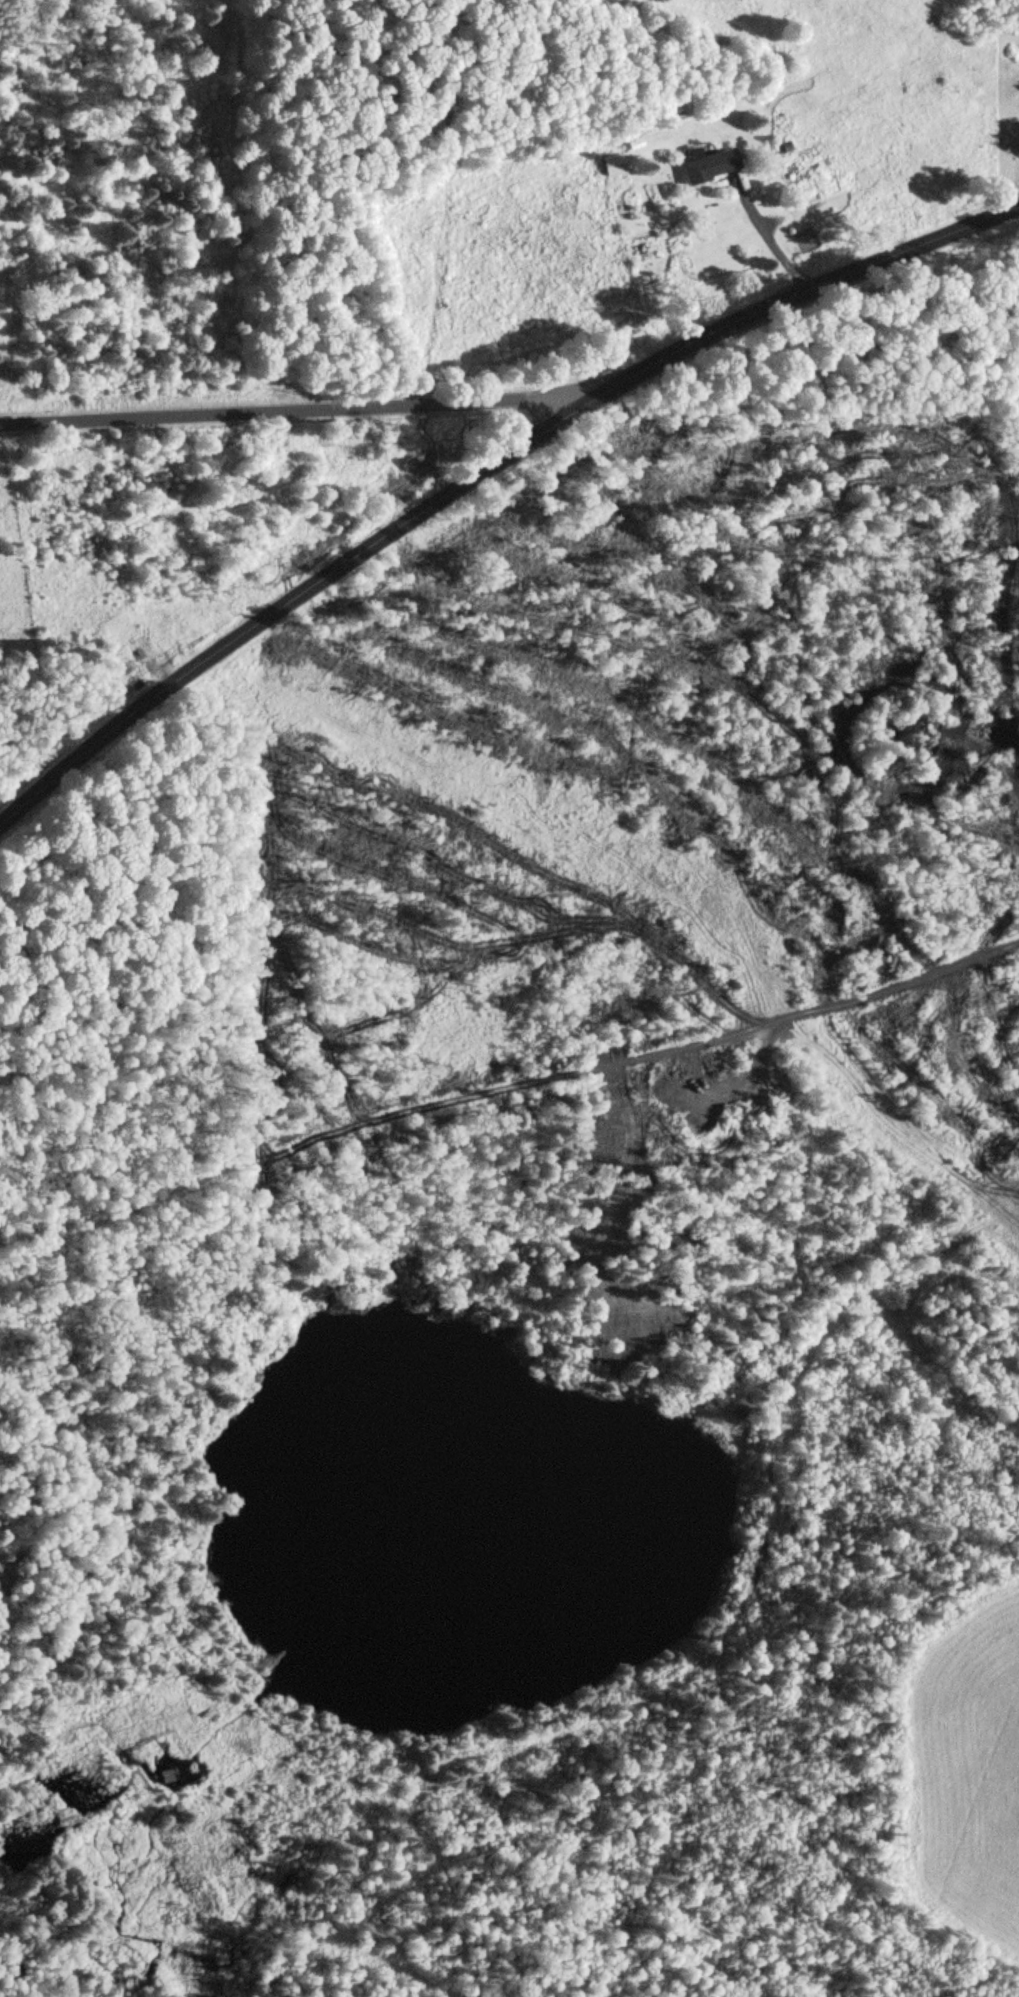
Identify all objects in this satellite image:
building: (607, 167)
building: (703, 167)
road: (517, 431)
road: (275, 434)
road: (38, 799)
road: (340, 1991)

